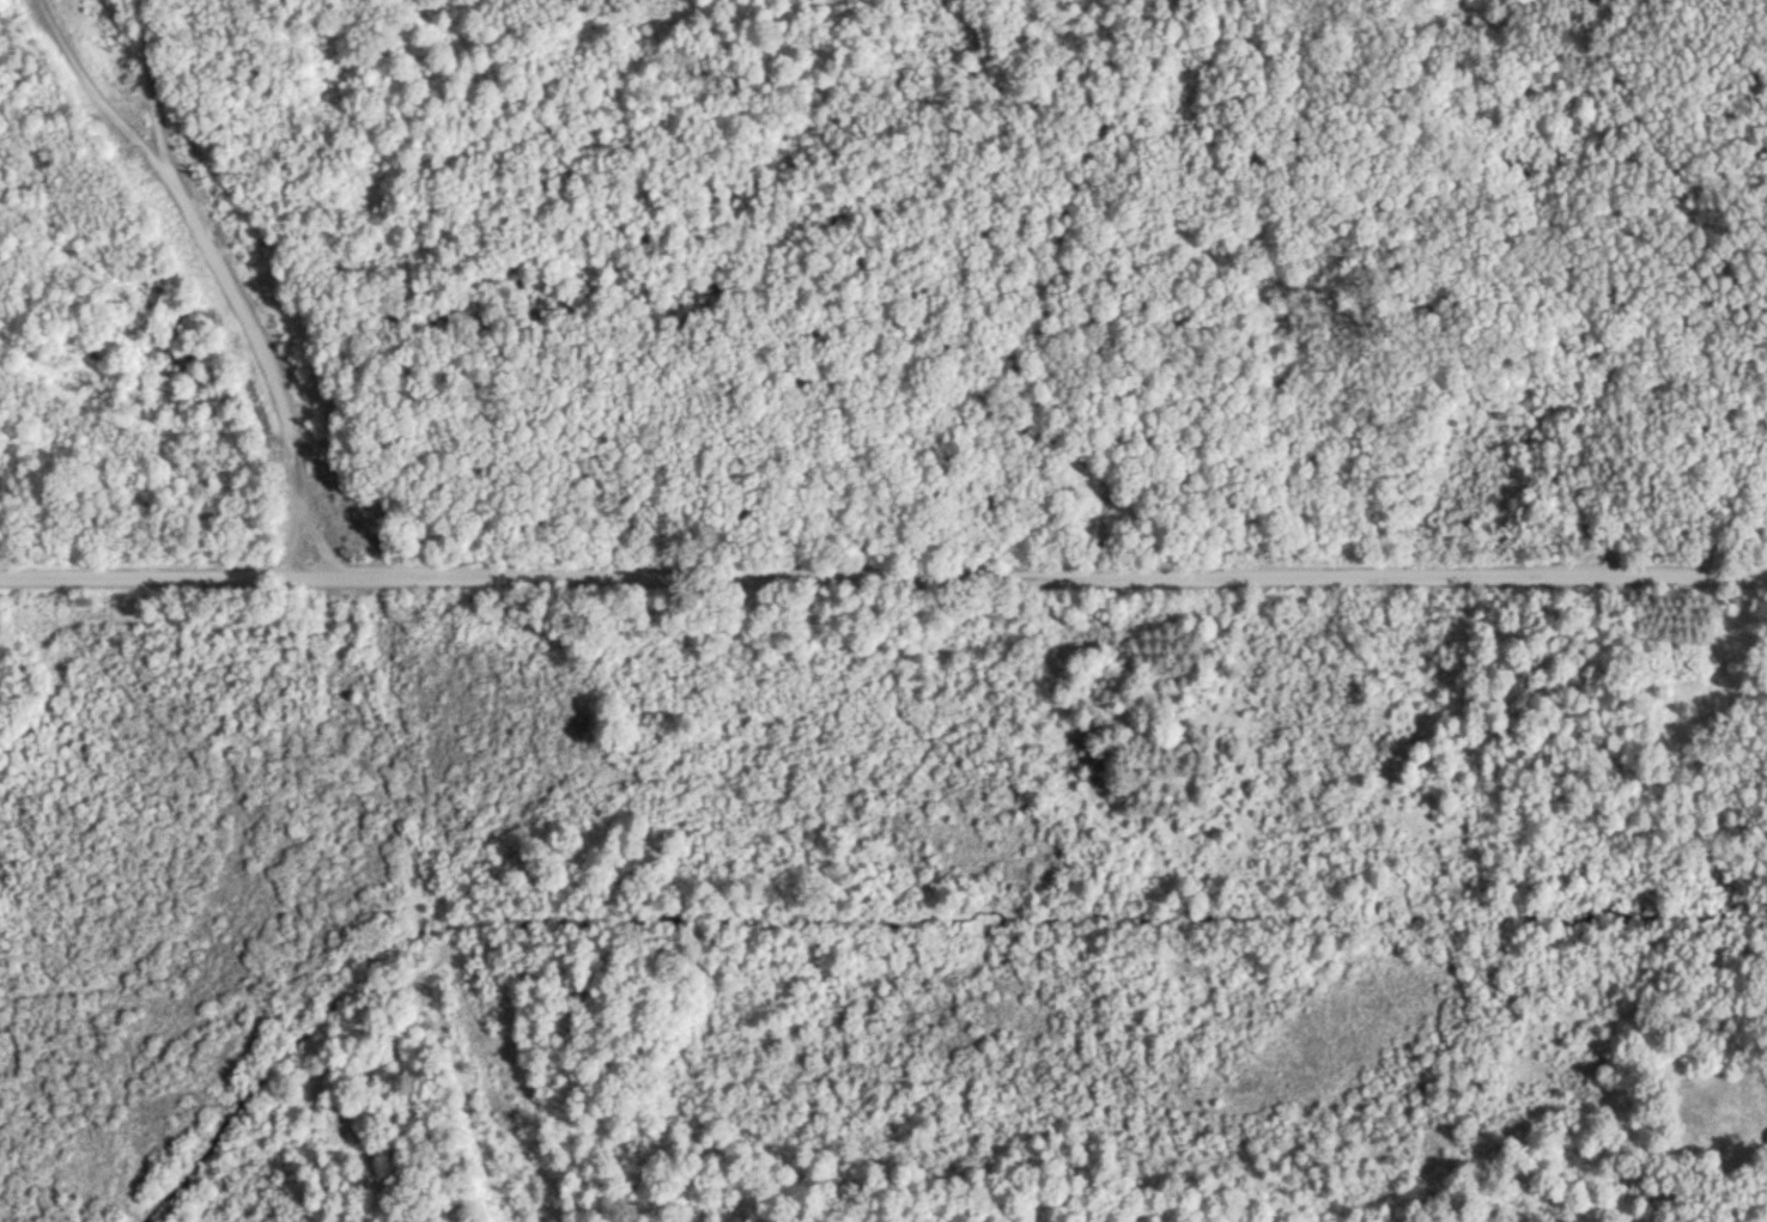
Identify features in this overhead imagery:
road: (86, 99)
road: (219, 291)
road: (882, 572)

